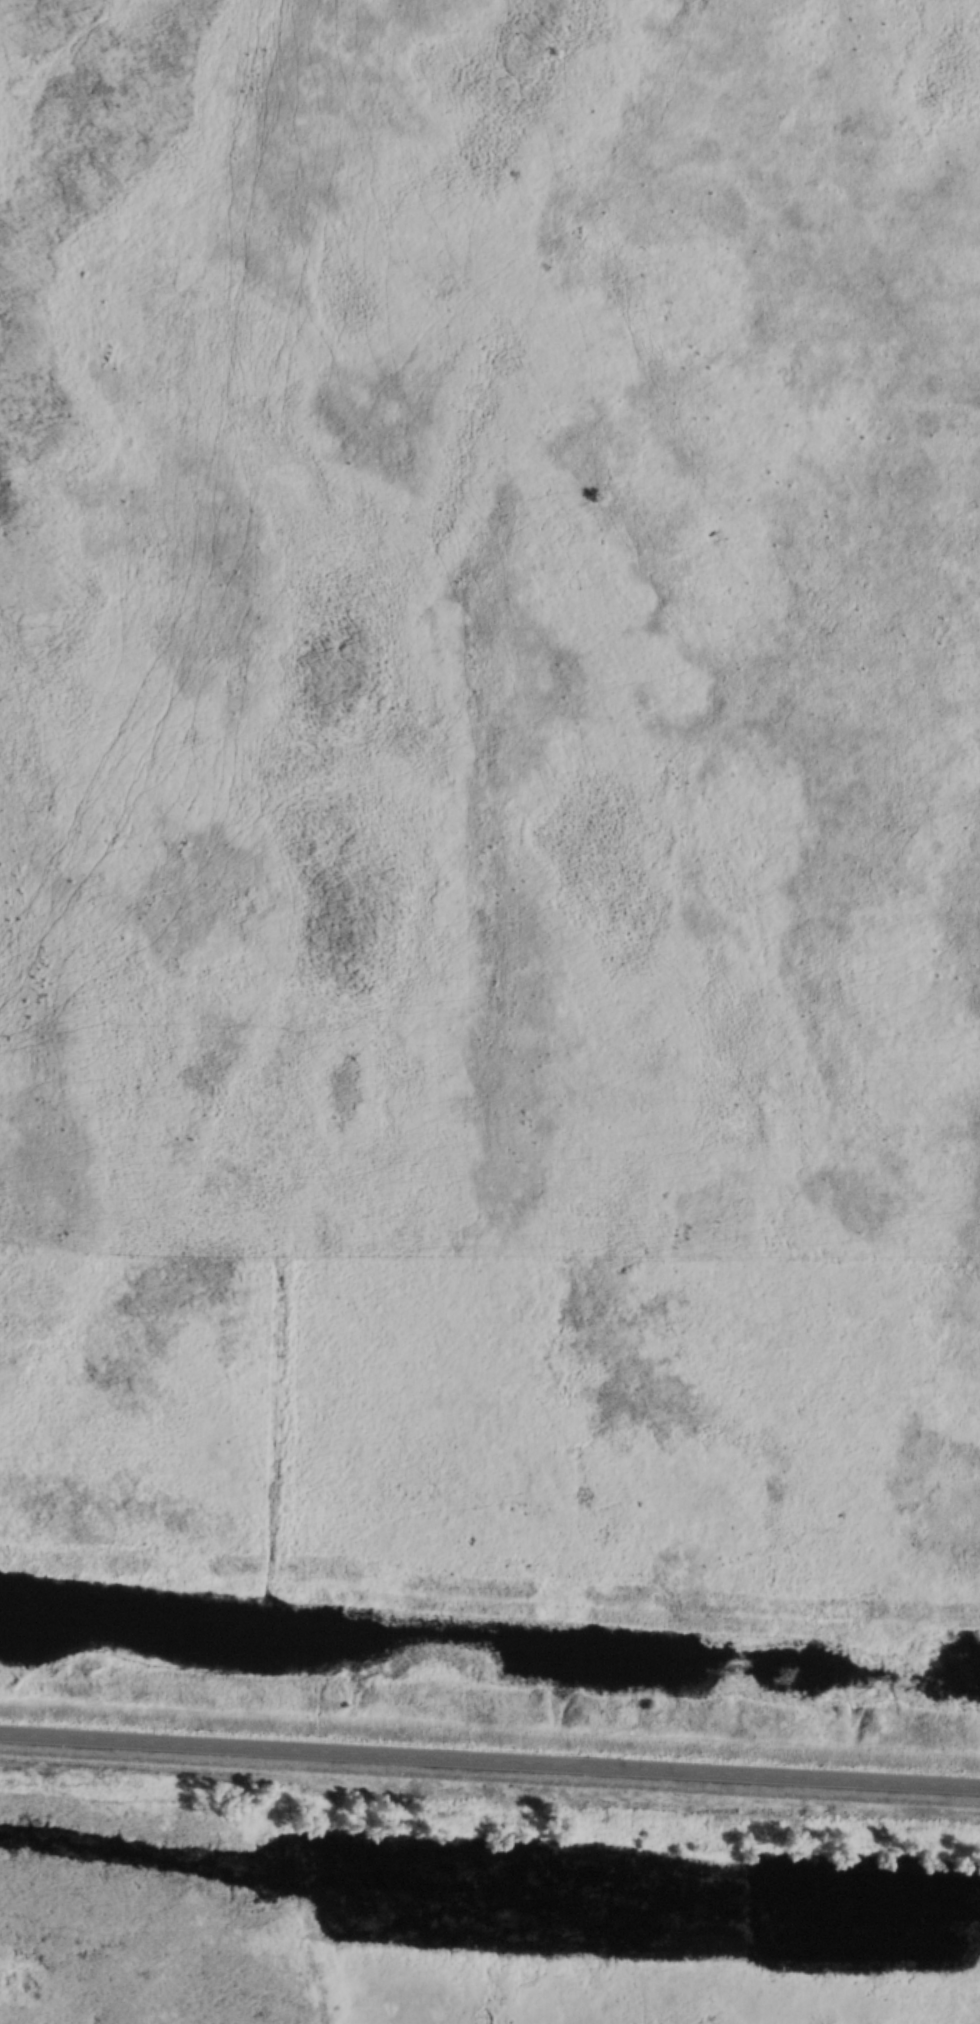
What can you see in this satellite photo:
road: (490, 1760)

